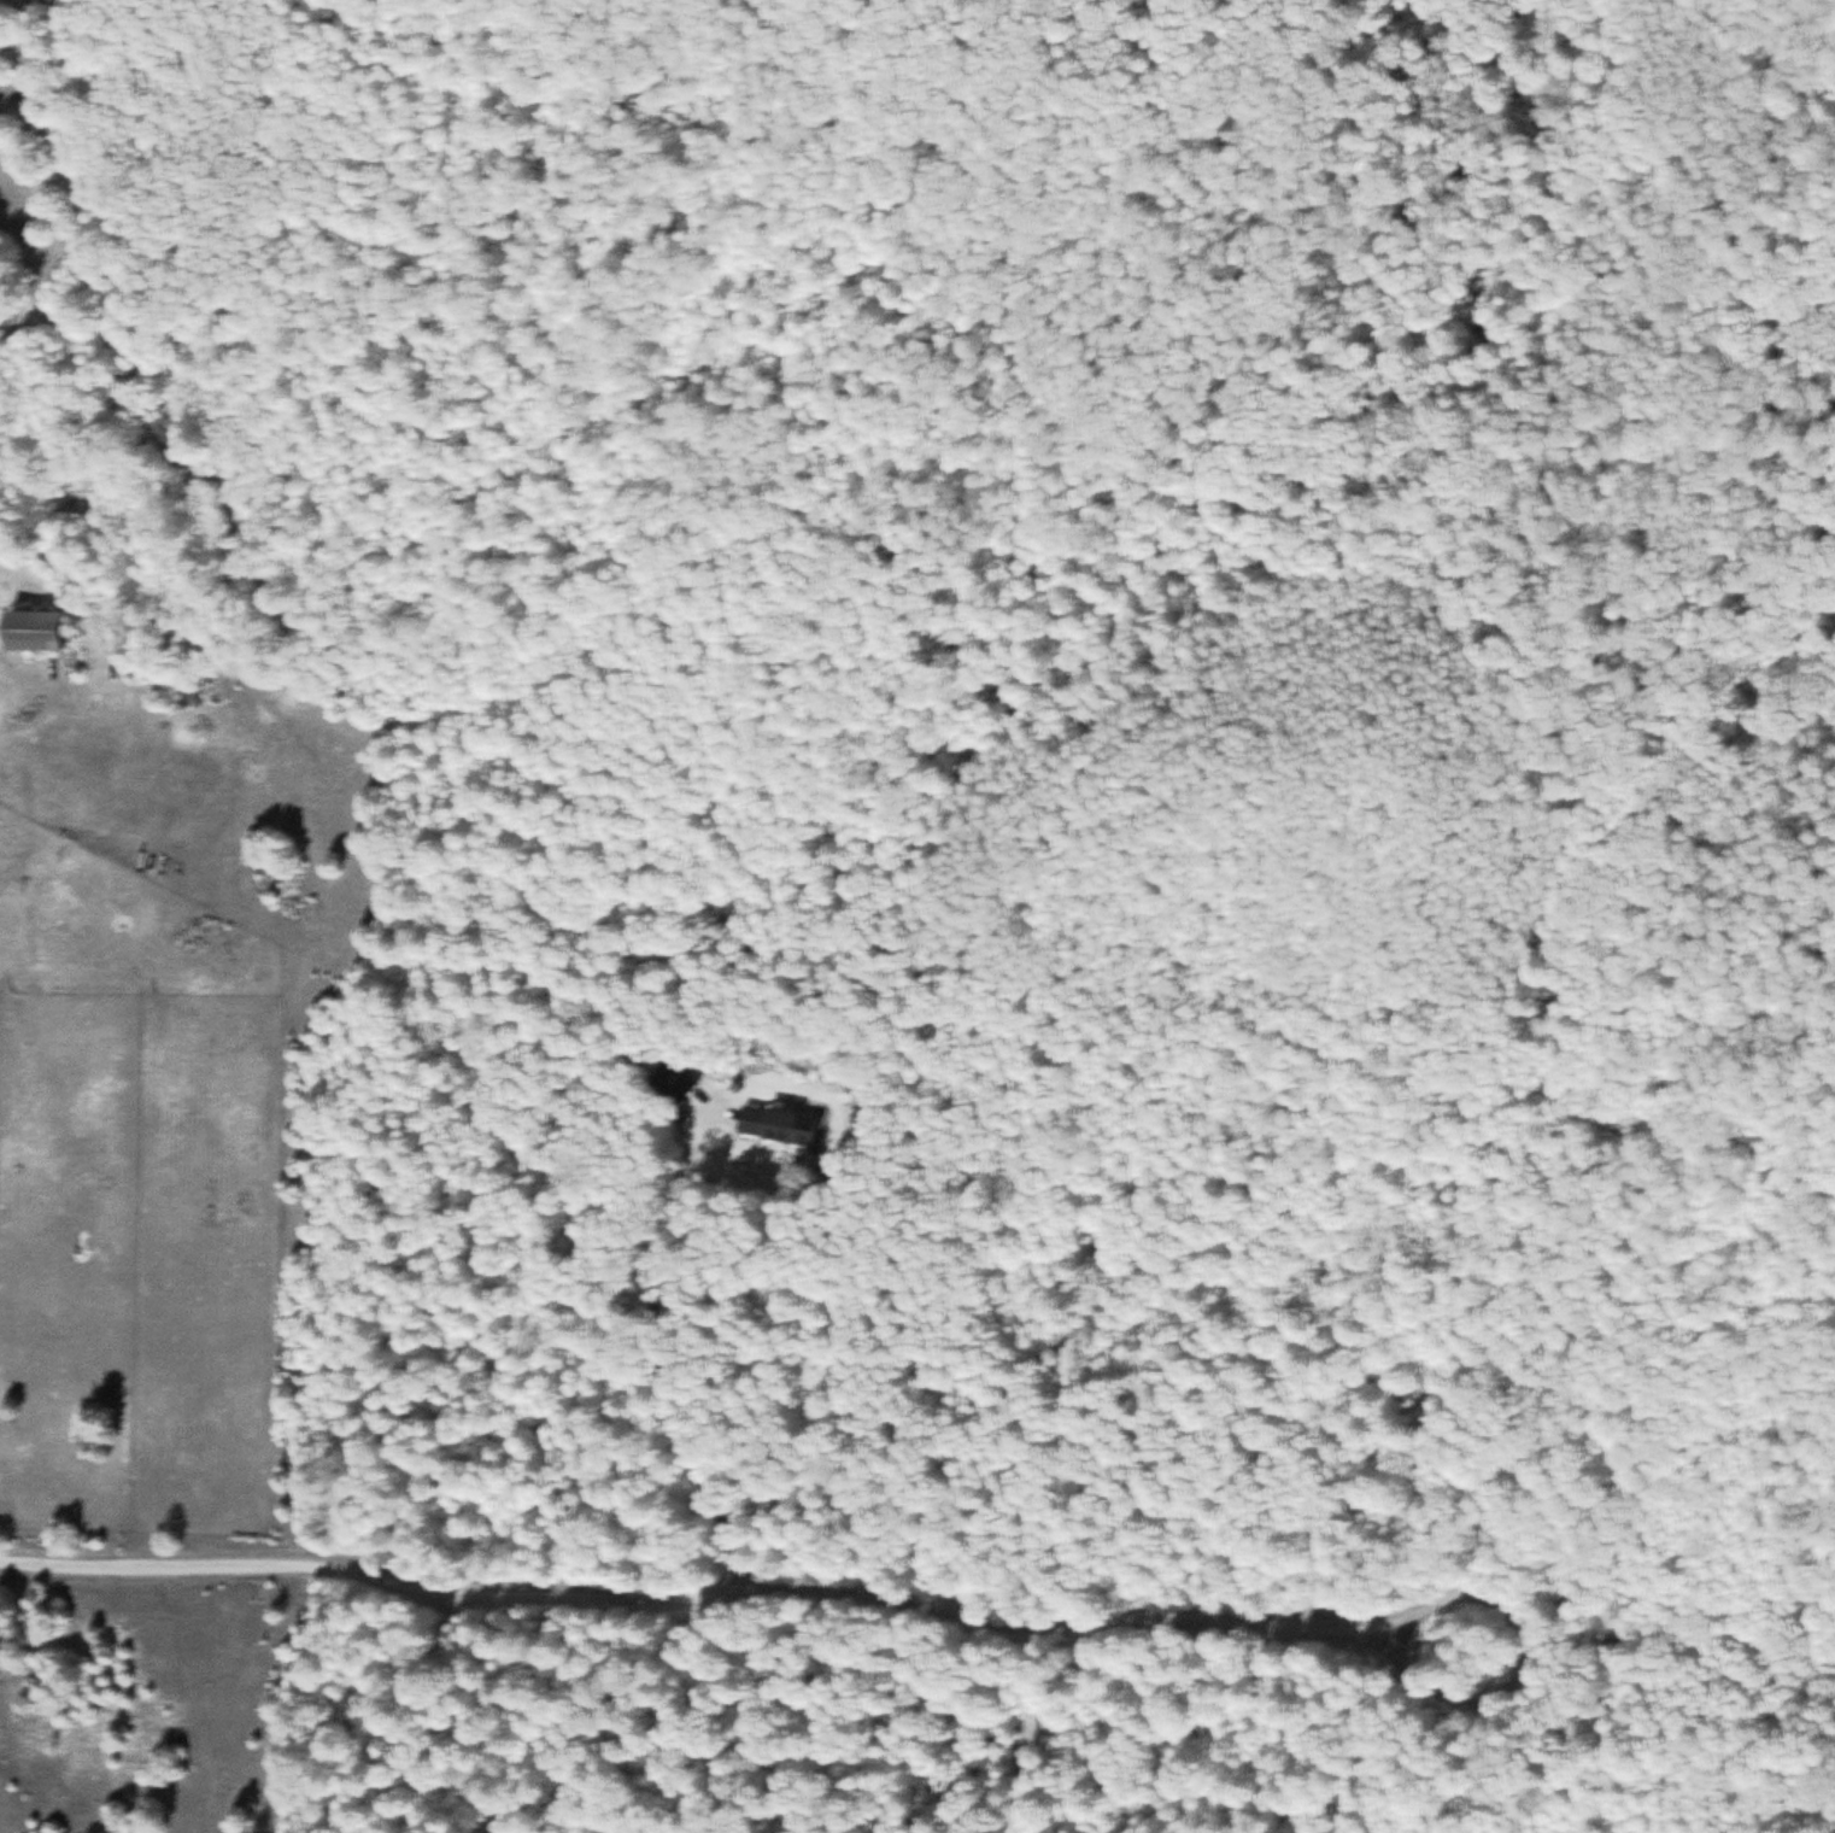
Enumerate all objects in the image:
building: (43, 629)
building: (675, 1079)
road: (714, 1108)
building: (782, 1124)
road: (681, 1349)
road: (690, 1595)
road: (1544, 1653)

